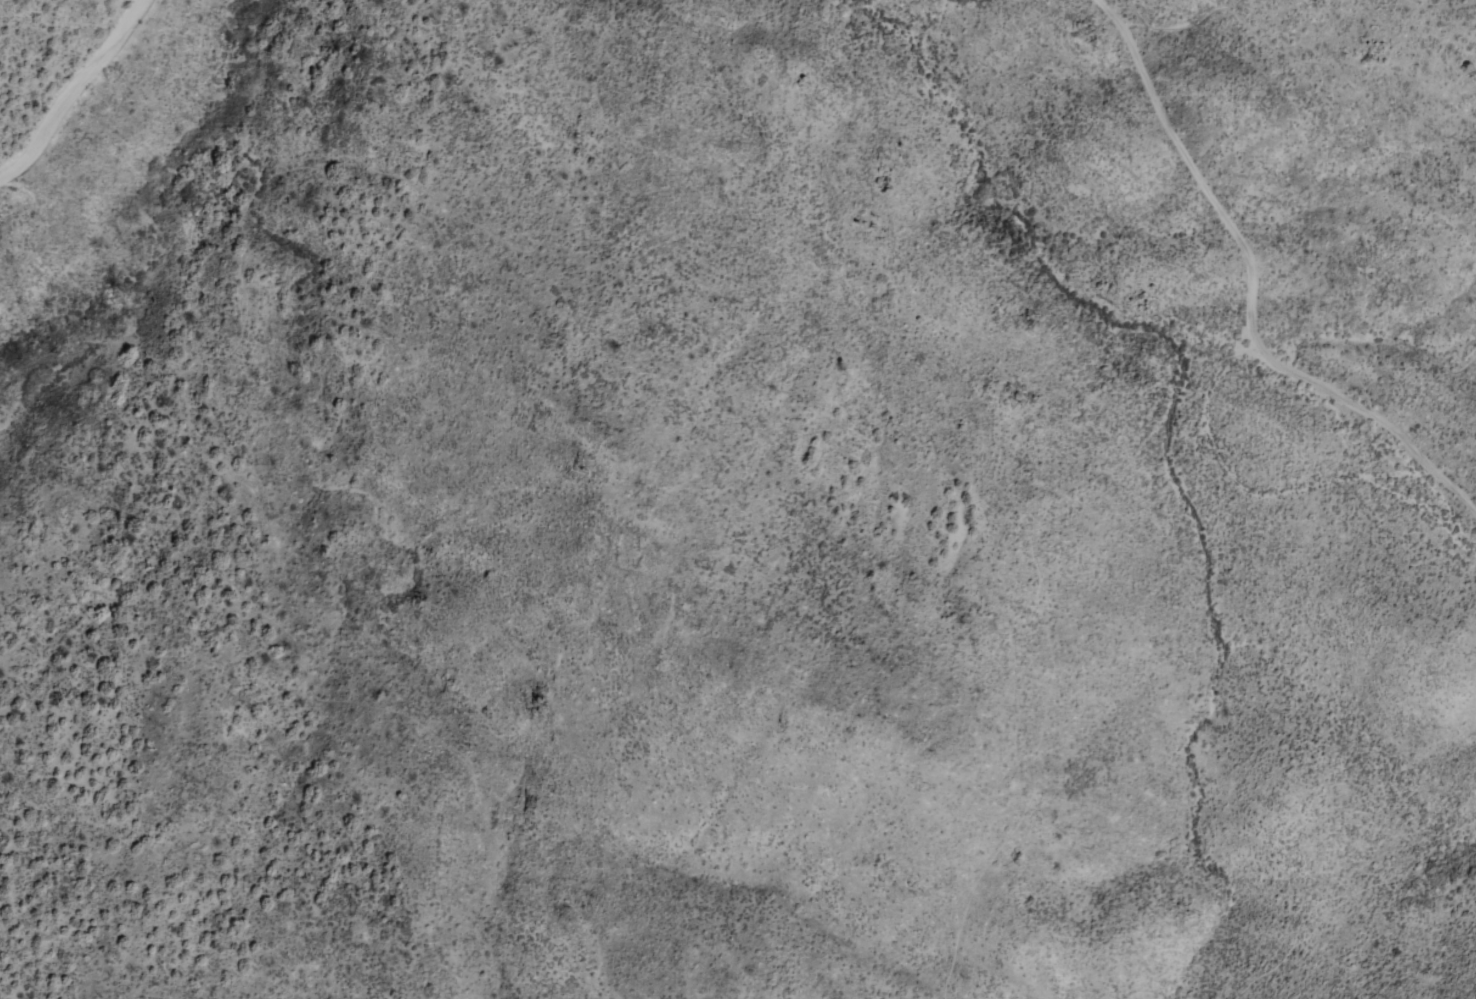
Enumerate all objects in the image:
road: (68, 87)
road: (1299, 254)

